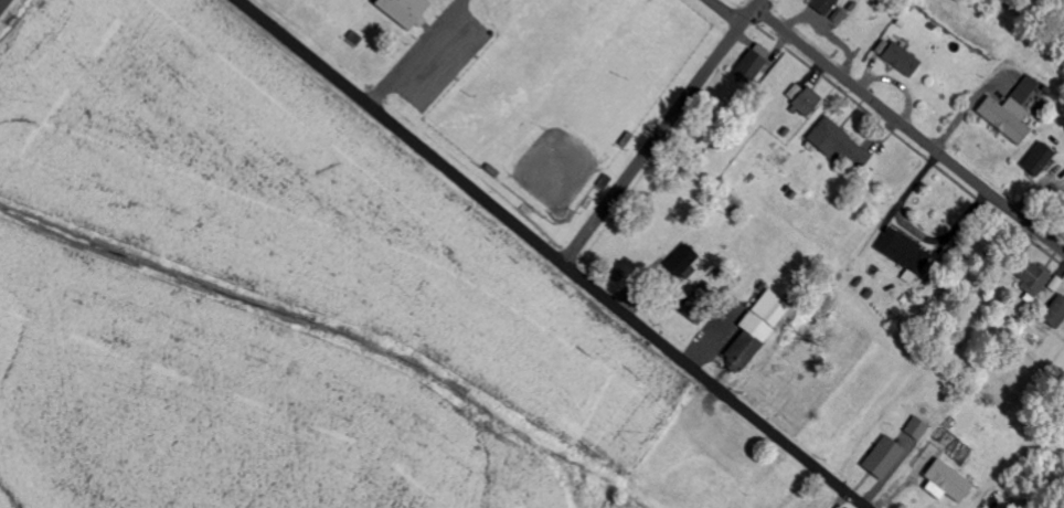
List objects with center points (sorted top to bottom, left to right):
road: (2, 2)
road: (759, 4)
building: (827, 6)
building: (409, 11)
road: (725, 12)
road: (749, 17)
building: (901, 56)
building: (756, 63)
building: (806, 100)
building: (1012, 112)
road: (909, 133)
building: (839, 140)
road: (655, 144)
building: (1042, 159)
building: (908, 254)
road: (556, 255)
building: (687, 260)
building: (704, 304)
building: (1057, 314)
building: (759, 330)
building: (919, 428)
building: (887, 457)
building: (953, 480)
building: (940, 490)

